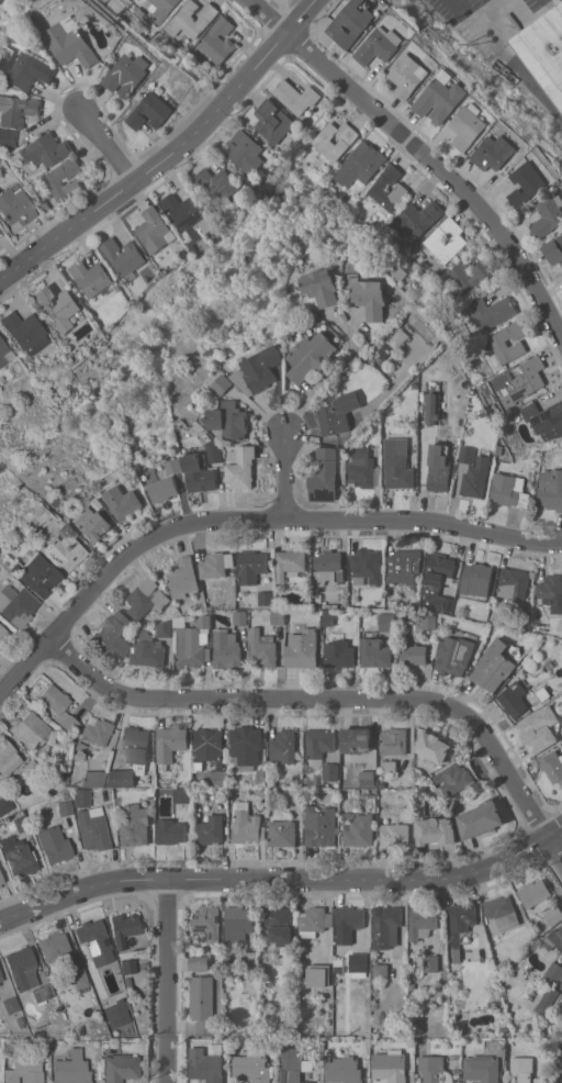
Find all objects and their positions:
building: (0, 0)
building: (162, 9)
parking lot: (481, 18)
building: (191, 19)
building: (350, 23)
building: (218, 41)
building: (72, 43)
building: (380, 45)
building: (543, 49)
road: (507, 58)
building: (24, 68)
building: (128, 75)
building: (408, 76)
building: (295, 96)
building: (440, 98)
building: (18, 110)
building: (150, 112)
building: (273, 121)
building: (469, 126)
building: (8, 137)
building: (335, 139)
road: (108, 147)
building: (46, 149)
road: (167, 149)
building: (246, 152)
building: (494, 153)
road: (421, 154)
building: (360, 165)
building: (54, 182)
building: (527, 183)
building: (217, 187)
building: (378, 187)
building: (15, 204)
building: (548, 216)
building: (416, 217)
building: (192, 222)
building: (155, 231)
building: (446, 239)
building: (554, 250)
building: (123, 256)
building: (459, 271)
building: (90, 277)
building: (319, 288)
building: (370, 298)
building: (59, 306)
building: (492, 311)
building: (25, 332)
building: (498, 344)
building: (2, 351)
building: (311, 357)
building: (259, 370)
road: (324, 379)
building: (520, 380)
building: (224, 383)
building: (432, 409)
building: (336, 415)
building: (543, 418)
building: (229, 420)
building: (215, 451)
building: (397, 464)
building: (175, 466)
building: (243, 468)
building: (438, 468)
building: (363, 469)
building: (200, 472)
building: (473, 473)
building: (323, 474)
road: (284, 476)
building: (164, 489)
building: (509, 490)
building: (550, 490)
building: (124, 502)
road: (246, 518)
building: (92, 524)
building: (65, 548)
building: (290, 563)
building: (216, 565)
building: (367, 566)
building: (251, 567)
building: (327, 567)
building: (403, 567)
building: (33, 572)
building: (475, 577)
building: (183, 579)
building: (437, 581)
building: (513, 583)
building: (551, 592)
building: (266, 598)
building: (147, 599)
building: (16, 605)
building: (278, 616)
building: (240, 617)
building: (327, 617)
building: (386, 622)
building: (429, 622)
building: (166, 628)
building: (3, 635)
building: (113, 637)
building: (191, 640)
building: (261, 648)
building: (226, 649)
building: (302, 649)
building: (148, 650)
building: (374, 652)
building: (339, 654)
building: (413, 655)
building: (452, 658)
building: (493, 666)
road: (337, 700)
building: (513, 702)
building: (58, 706)
building: (30, 729)
building: (539, 729)
building: (97, 732)
building: (356, 740)
building: (393, 741)
building: (170, 744)
building: (209, 745)
building: (318, 745)
building: (432, 746)
building: (246, 747)
building: (282, 747)
building: (7, 758)
building: (132, 758)
building: (552, 764)
building: (390, 767)
building: (33, 770)
building: (330, 771)
building: (93, 778)
building: (217, 778)
building: (368, 778)
building: (453, 779)
building: (294, 794)
building: (182, 795)
building: (81, 800)
building: (5, 804)
building: (65, 807)
building: (481, 819)
building: (246, 823)
building: (21, 824)
building: (134, 825)
building: (321, 826)
building: (281, 828)
building: (210, 830)
building: (393, 830)
building: (436, 830)
building: (171, 831)
building: (360, 831)
building: (92, 833)
building: (56, 844)
building: (19, 856)
building: (0, 871)
road: (283, 879)
building: (1, 880)
building: (0, 885)
building: (536, 894)
building: (502, 913)
building: (553, 915)
building: (350, 917)
building: (460, 919)
building: (314, 920)
building: (207, 922)
building: (238, 922)
building: (421, 922)
building: (280, 924)
building: (386, 927)
building: (124, 928)
building: (93, 937)
building: (553, 939)
building: (53, 945)
building: (454, 952)
building: (250, 959)
building: (357, 962)
building: (199, 963)
building: (431, 963)
building: (126, 965)
building: (22, 968)
building: (380, 971)
building: (319, 975)
building: (1, 976)
building: (80, 980)
road: (166, 982)
building: (551, 987)
building: (44, 992)
building: (203, 1004)
building: (11, 1005)
building: (116, 1014)
building: (207, 1063)
building: (120, 1064)
building: (254, 1067)
building: (294, 1067)
building: (390, 1067)
building: (482, 1067)
building: (71, 1069)
building: (521, 1069)
building: (24, 1070)
building: (344, 1070)
building: (435, 1070)
building: (560, 1070)
building: (543, 1082)

